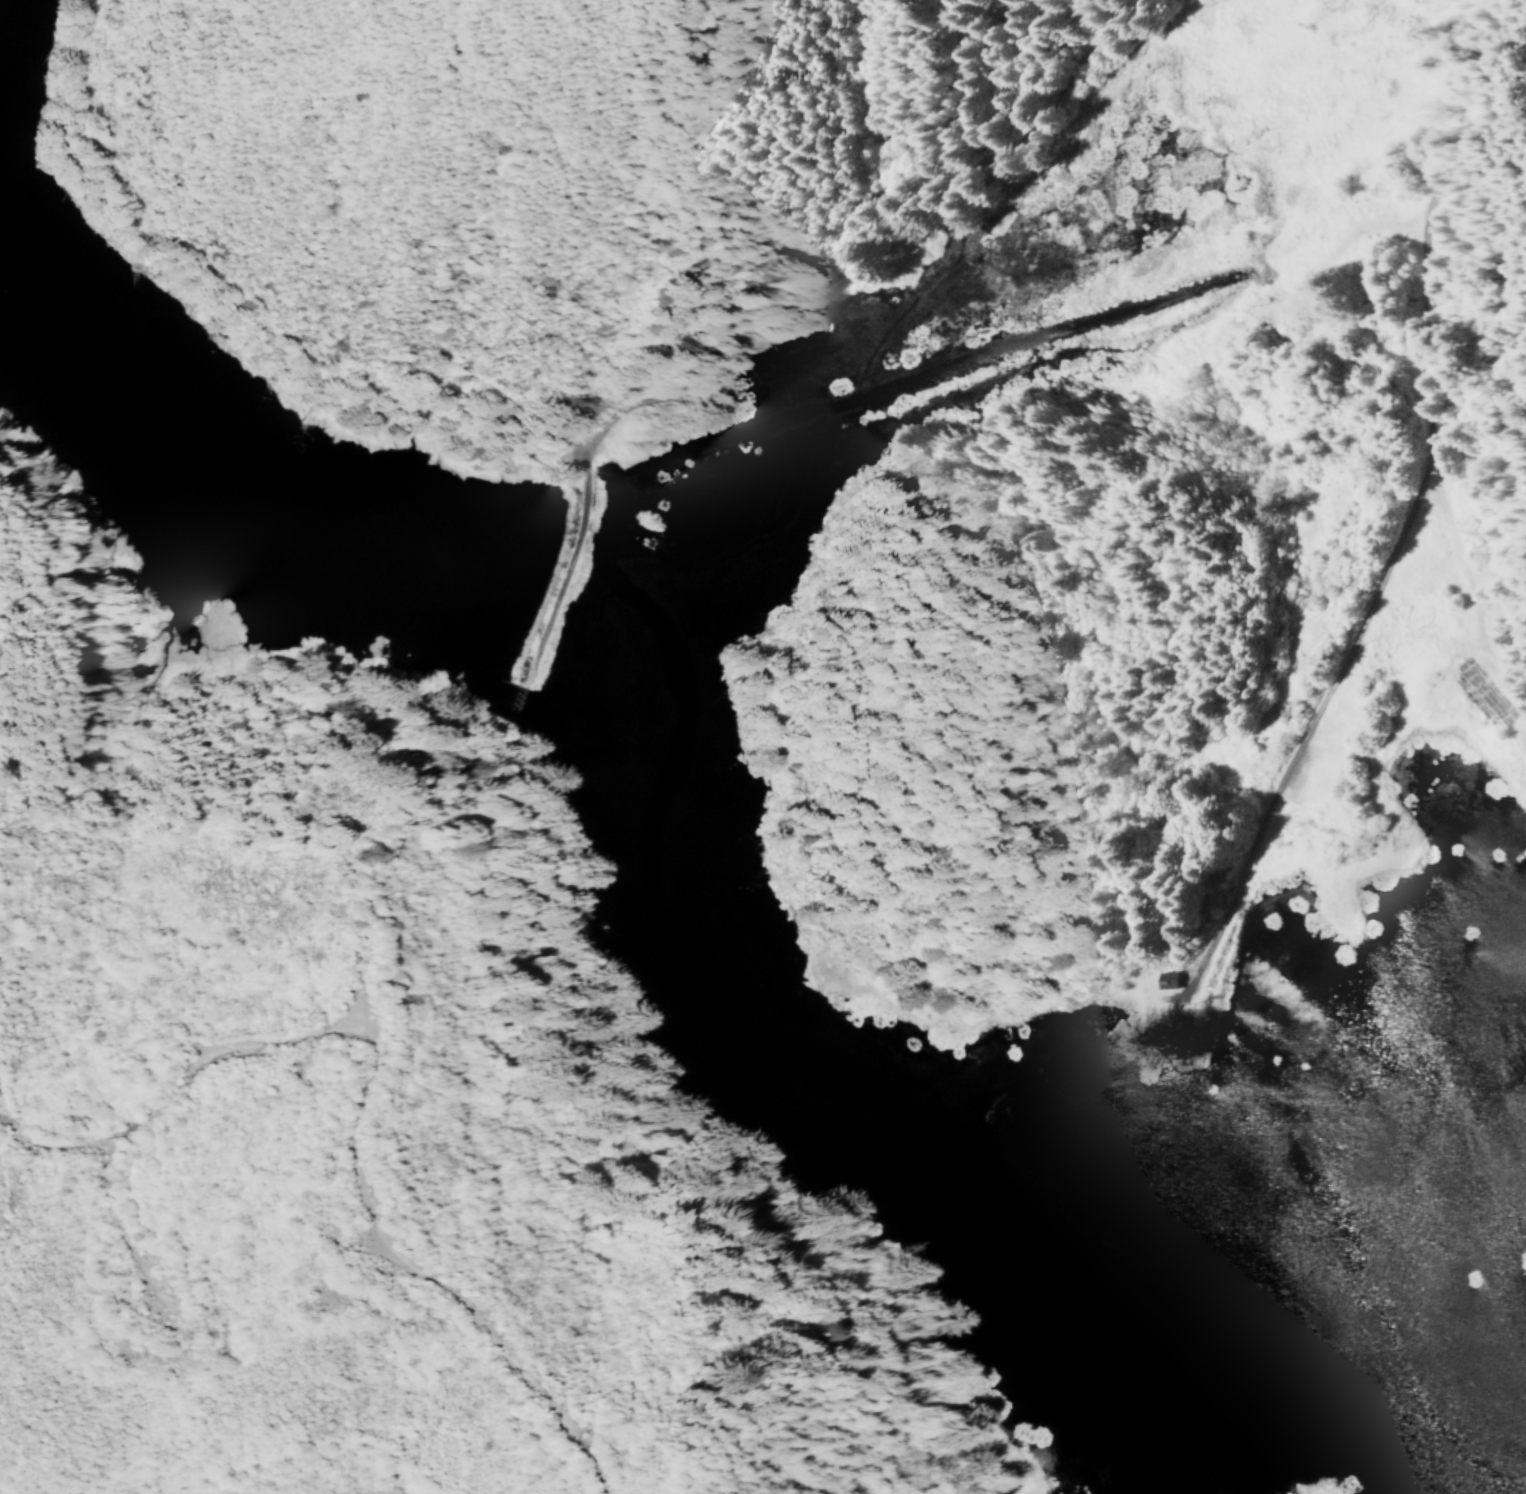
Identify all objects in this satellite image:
road: (896, 187)
road: (1414, 234)
road: (1298, 719)
building: (1162, 979)

